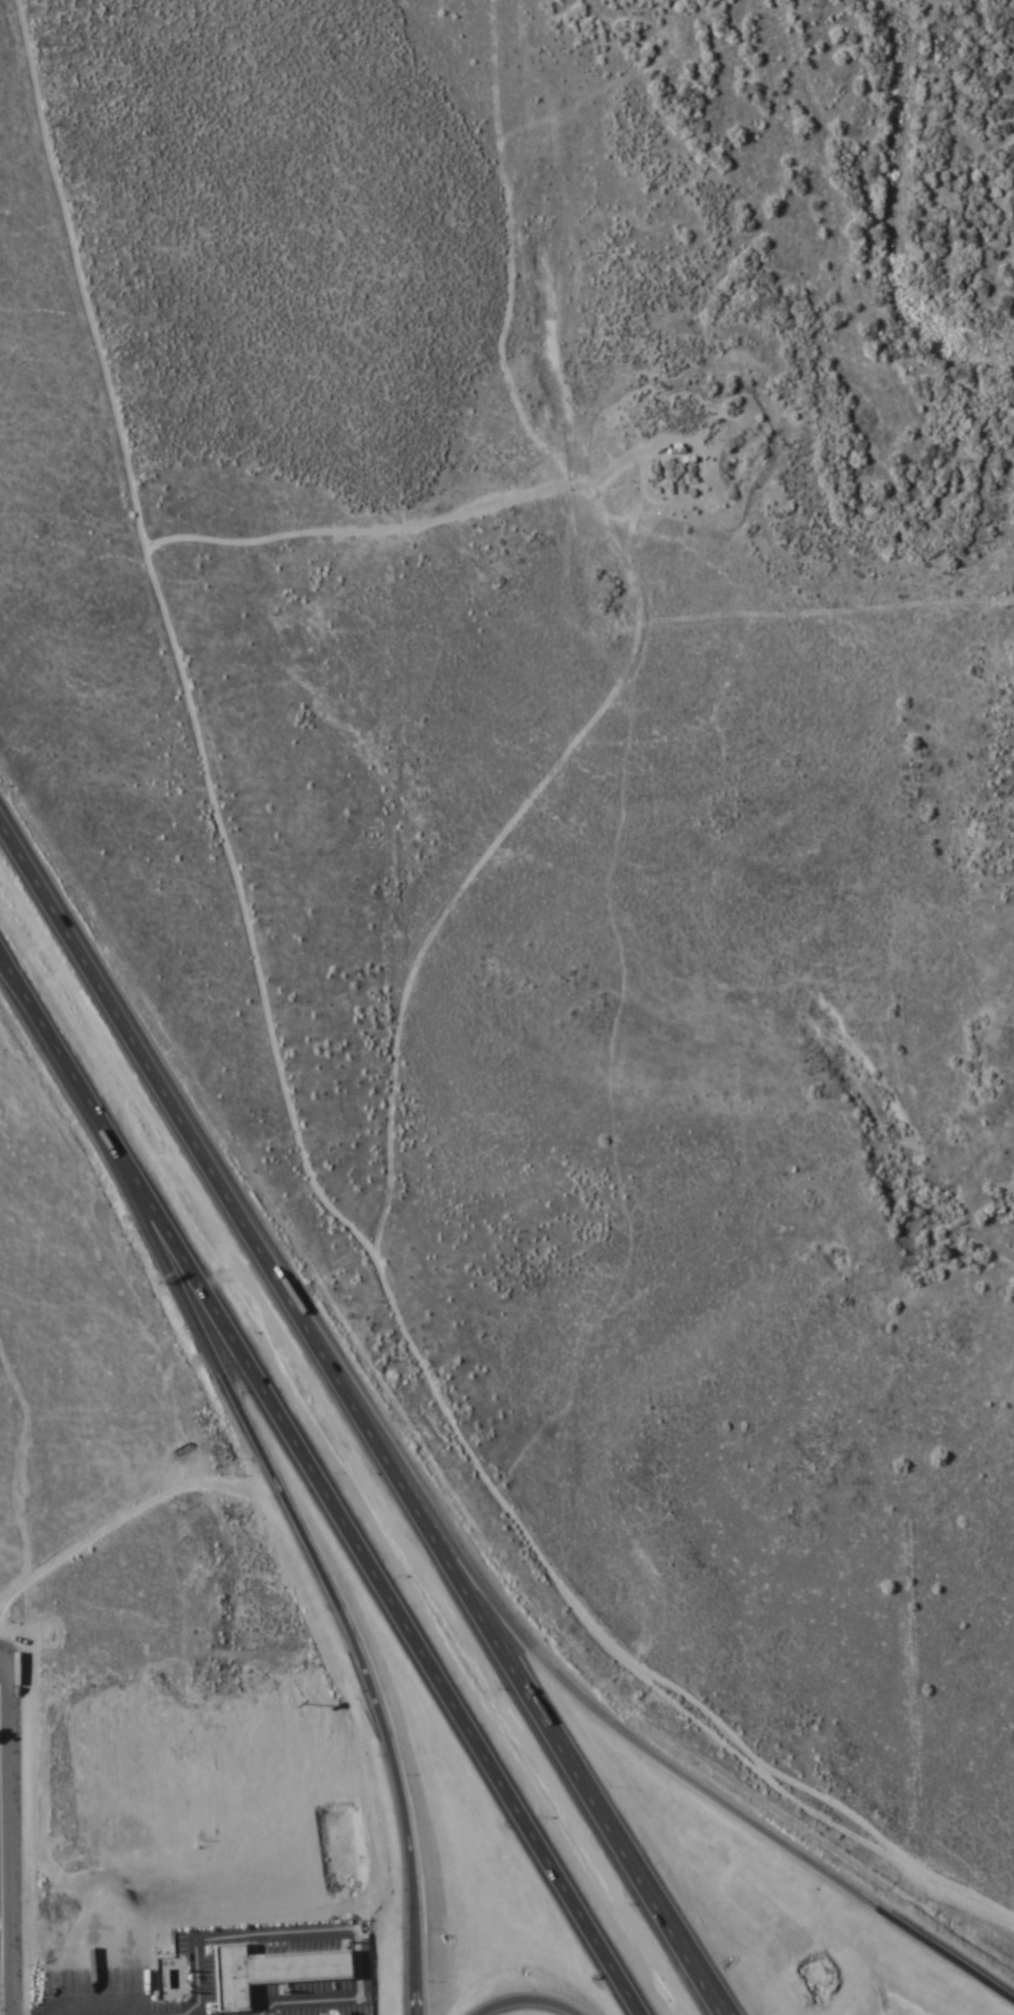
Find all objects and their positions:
road: (287, 1101)
road: (141, 1184)
road: (365, 1408)
road: (325, 1476)
road: (334, 1602)
road: (4, 1666)
road: (677, 1772)
road: (7, 1840)
road: (327, 1930)
building: (277, 1971)
road: (525, 2001)

